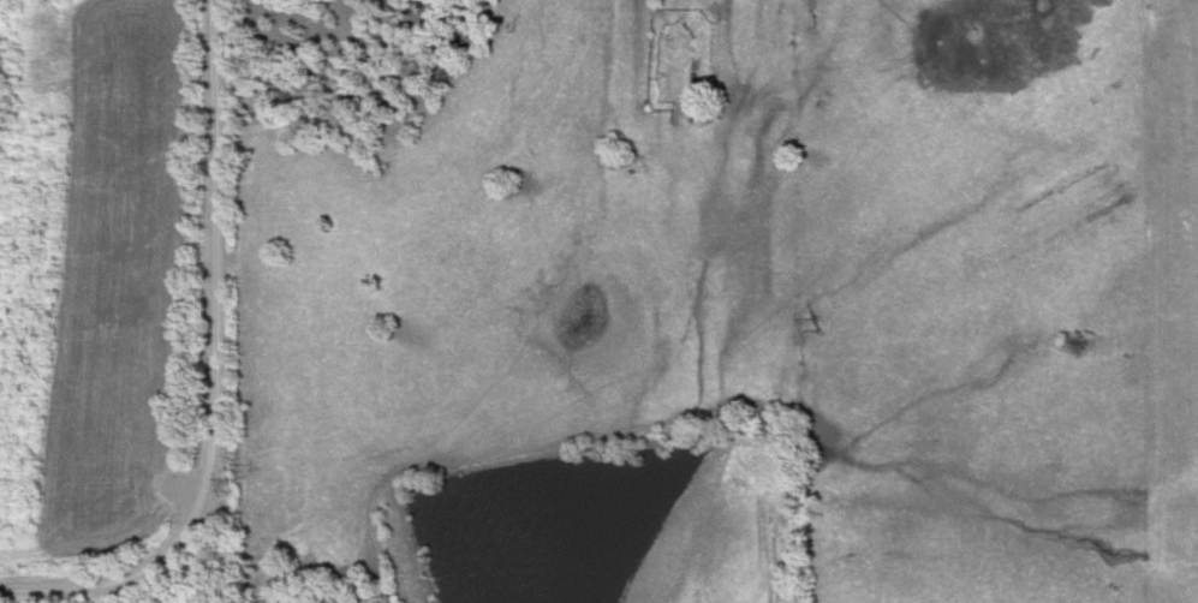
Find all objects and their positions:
power tower: (821, 322)
road: (216, 372)
power tower: (230, 490)

